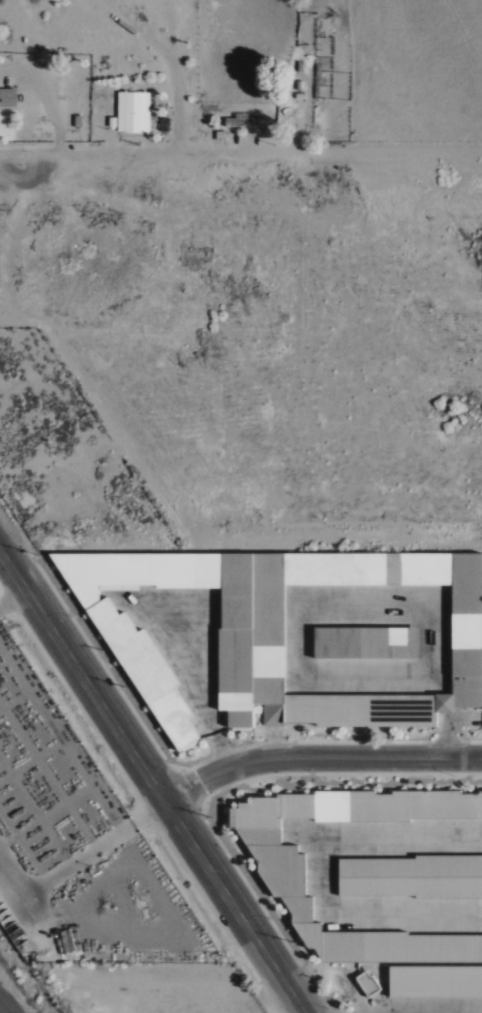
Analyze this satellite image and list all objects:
road: (47, 25)
road: (39, 64)
road: (41, 92)
building: (8, 99)
building: (133, 113)
road: (151, 152)
road: (34, 153)
road: (12, 597)
building: (306, 635)
road: (61, 738)
road: (320, 759)
road: (153, 781)
road: (81, 859)
building: (284, 875)
building: (410, 877)
building: (436, 981)
building: (367, 984)

